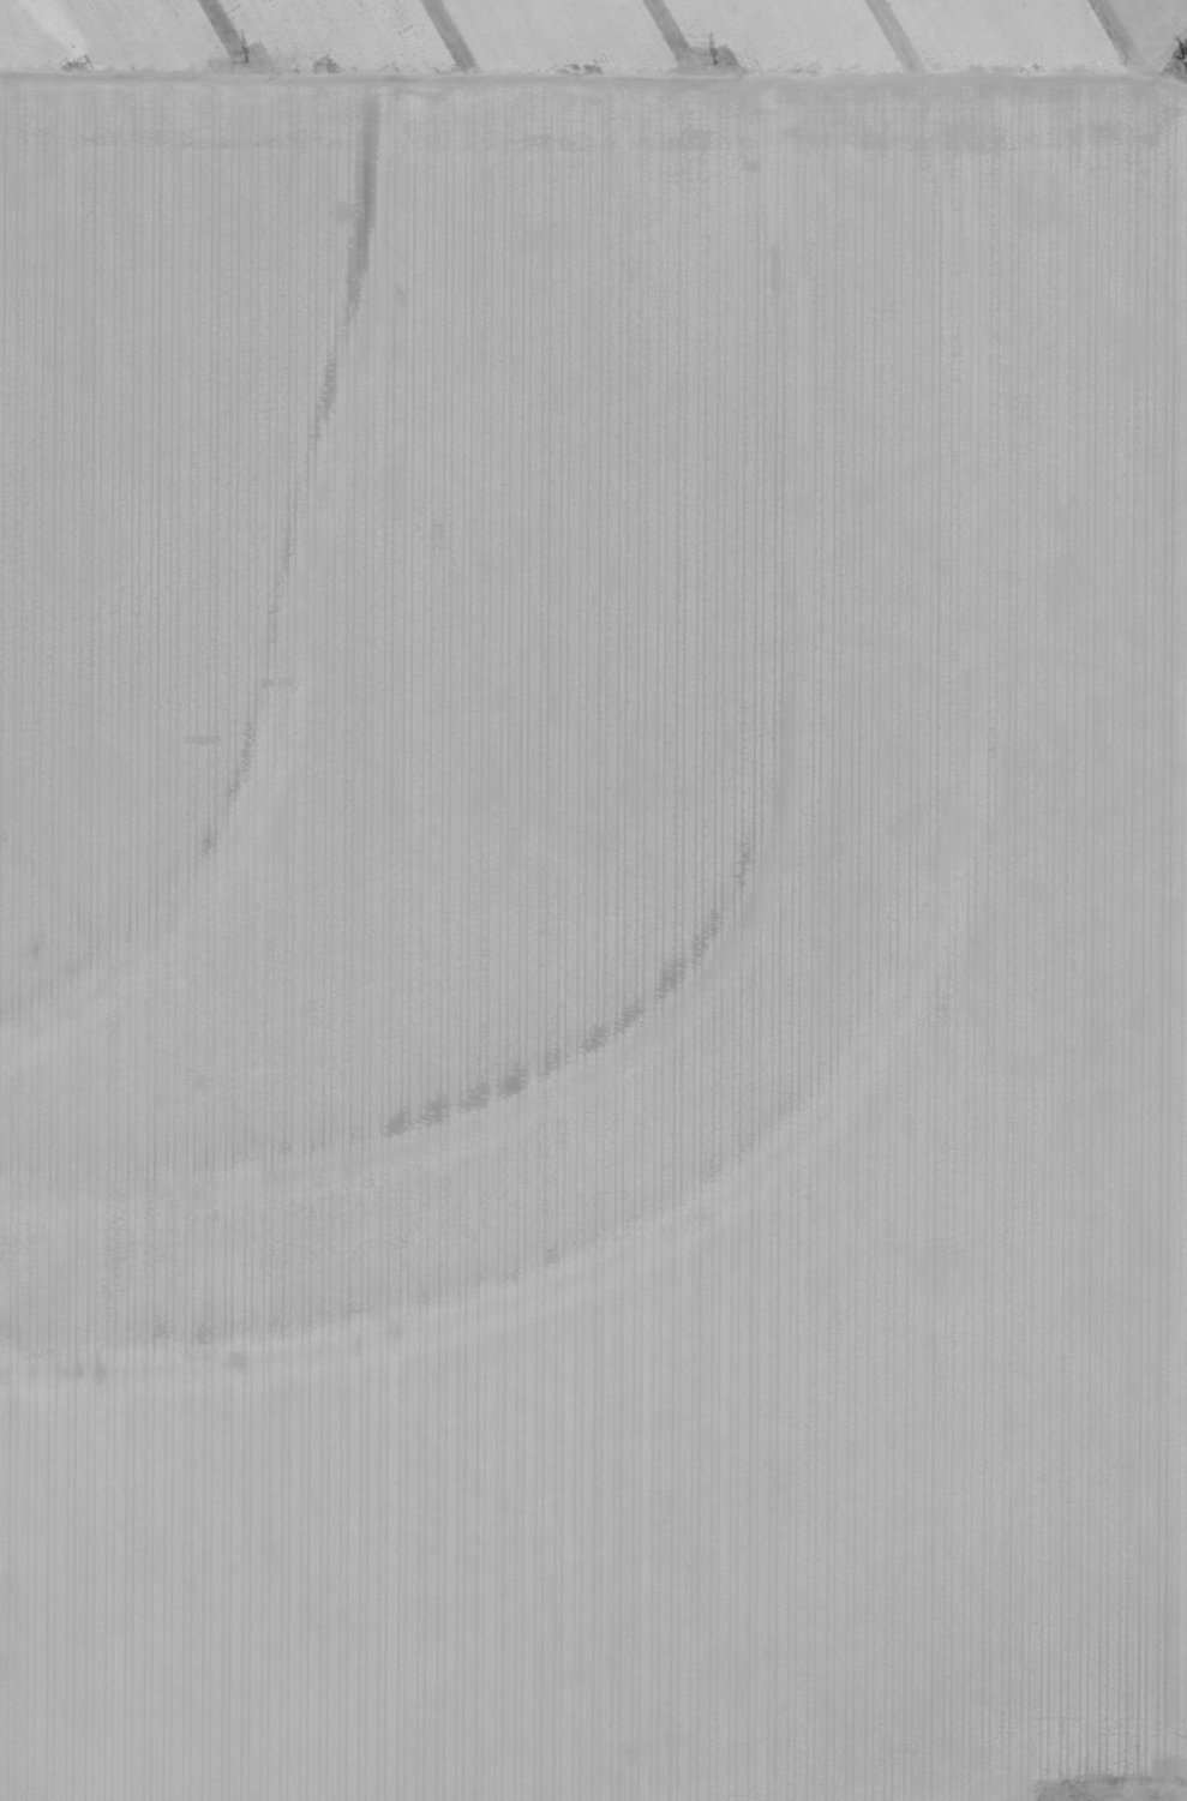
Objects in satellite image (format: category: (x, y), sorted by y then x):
power tower: (242, 56)
power tower: (708, 56)
power tower: (1183, 64)
road: (593, 97)
road: (1167, 954)

